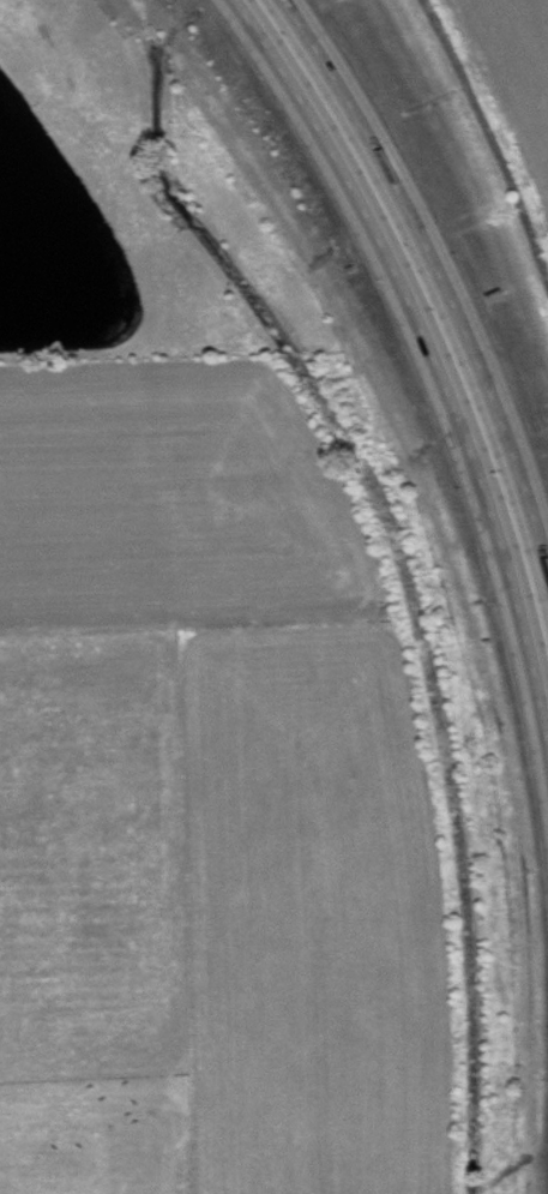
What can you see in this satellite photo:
road: (442, 270)
road: (434, 341)

